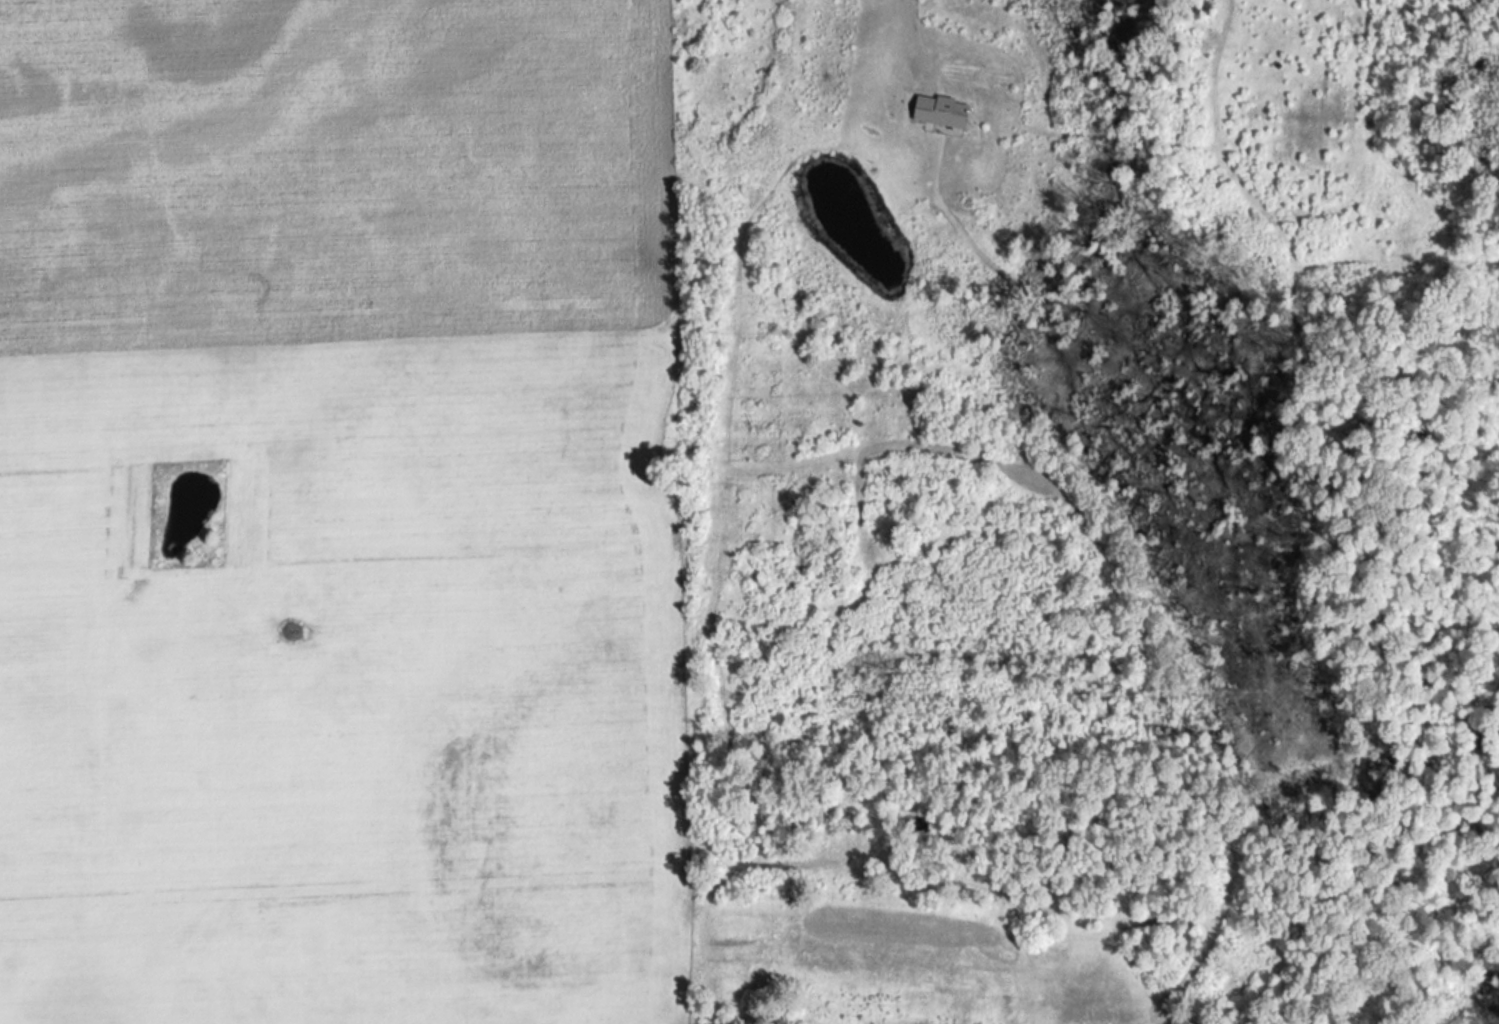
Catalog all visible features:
building: (950, 110)

